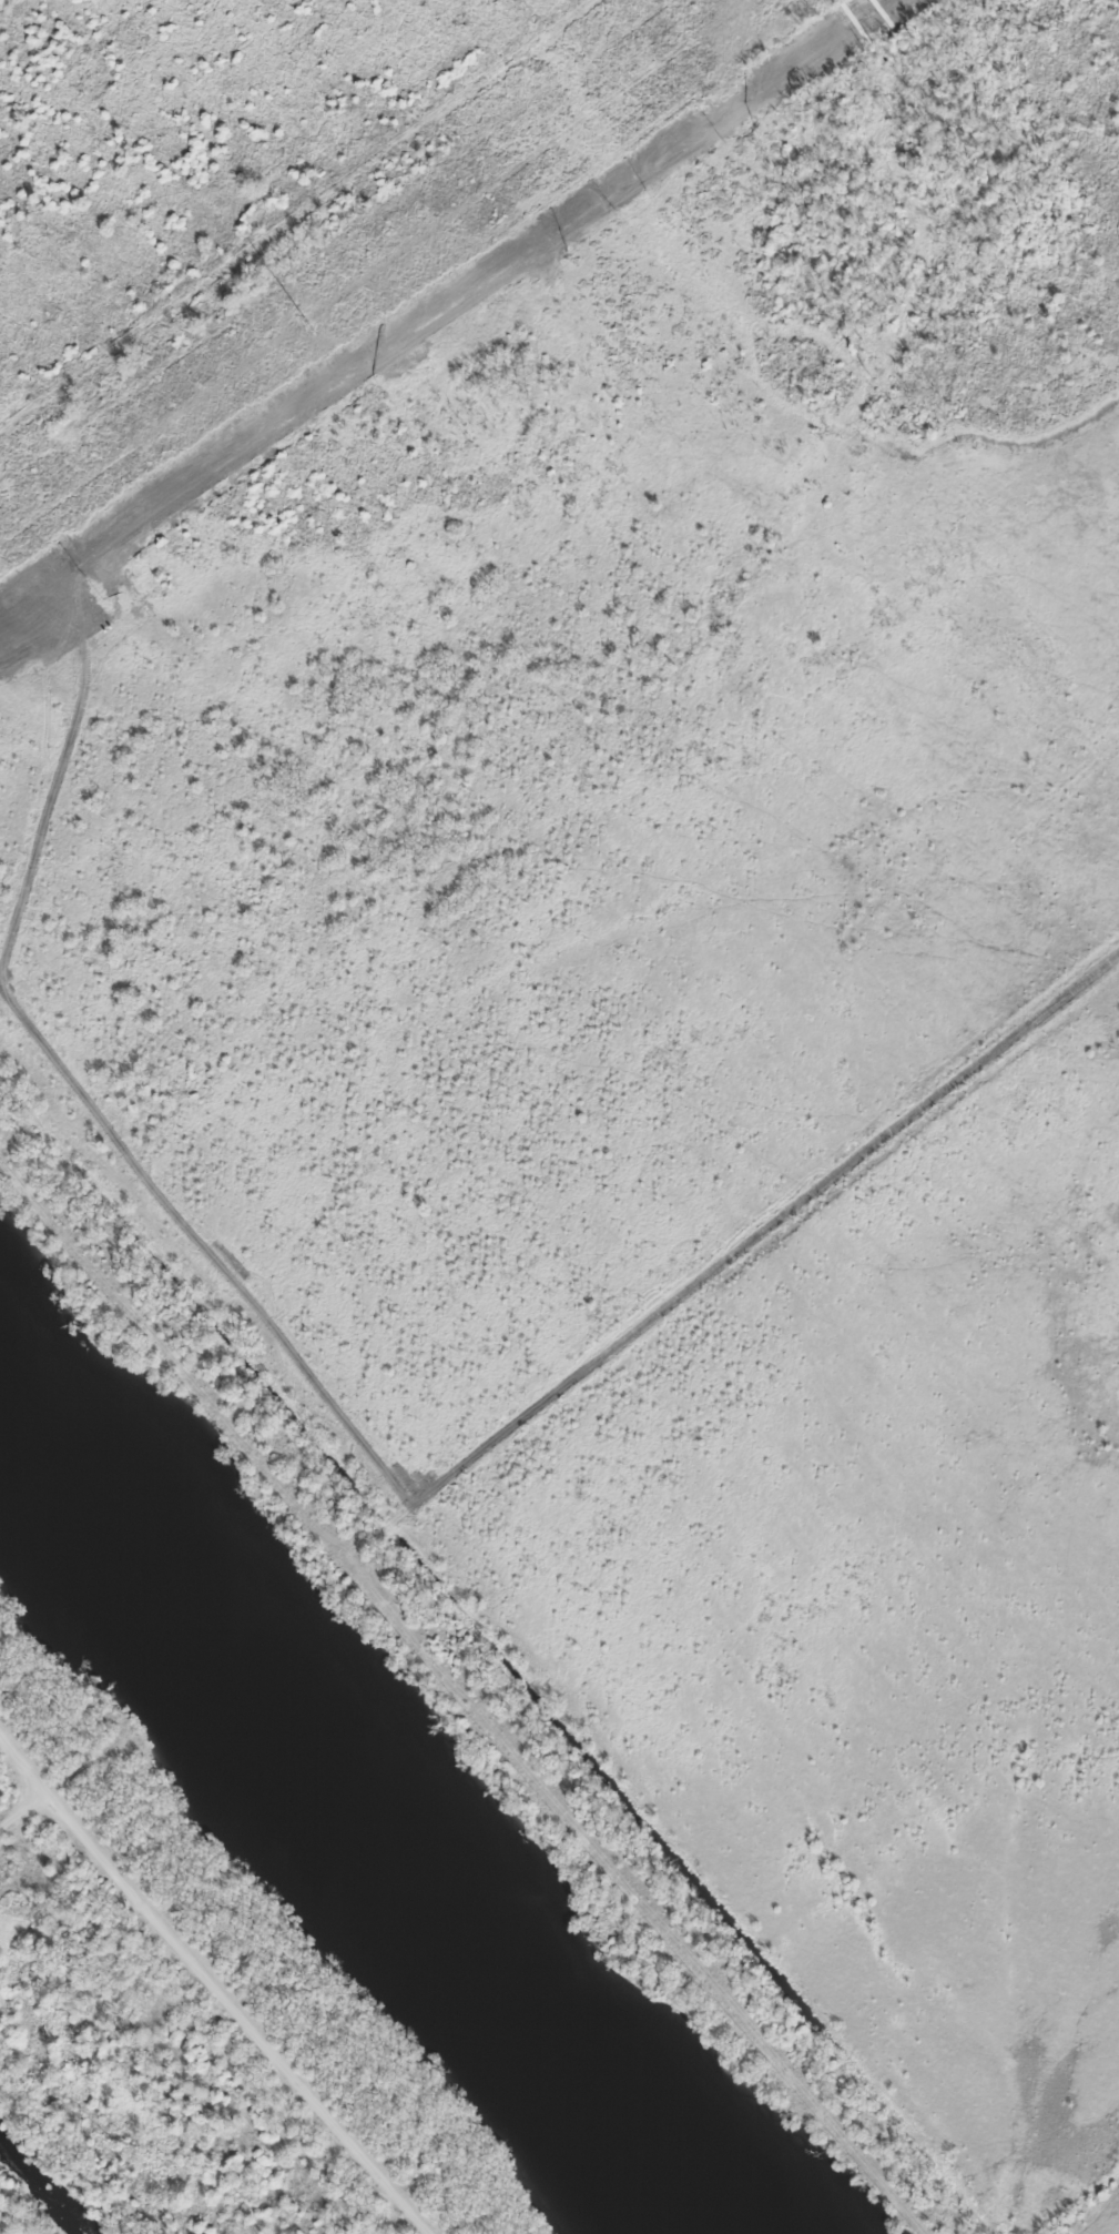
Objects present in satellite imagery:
power tower: (304, 322)
road: (731, 1252)
road: (24, 1810)
road: (215, 1983)

